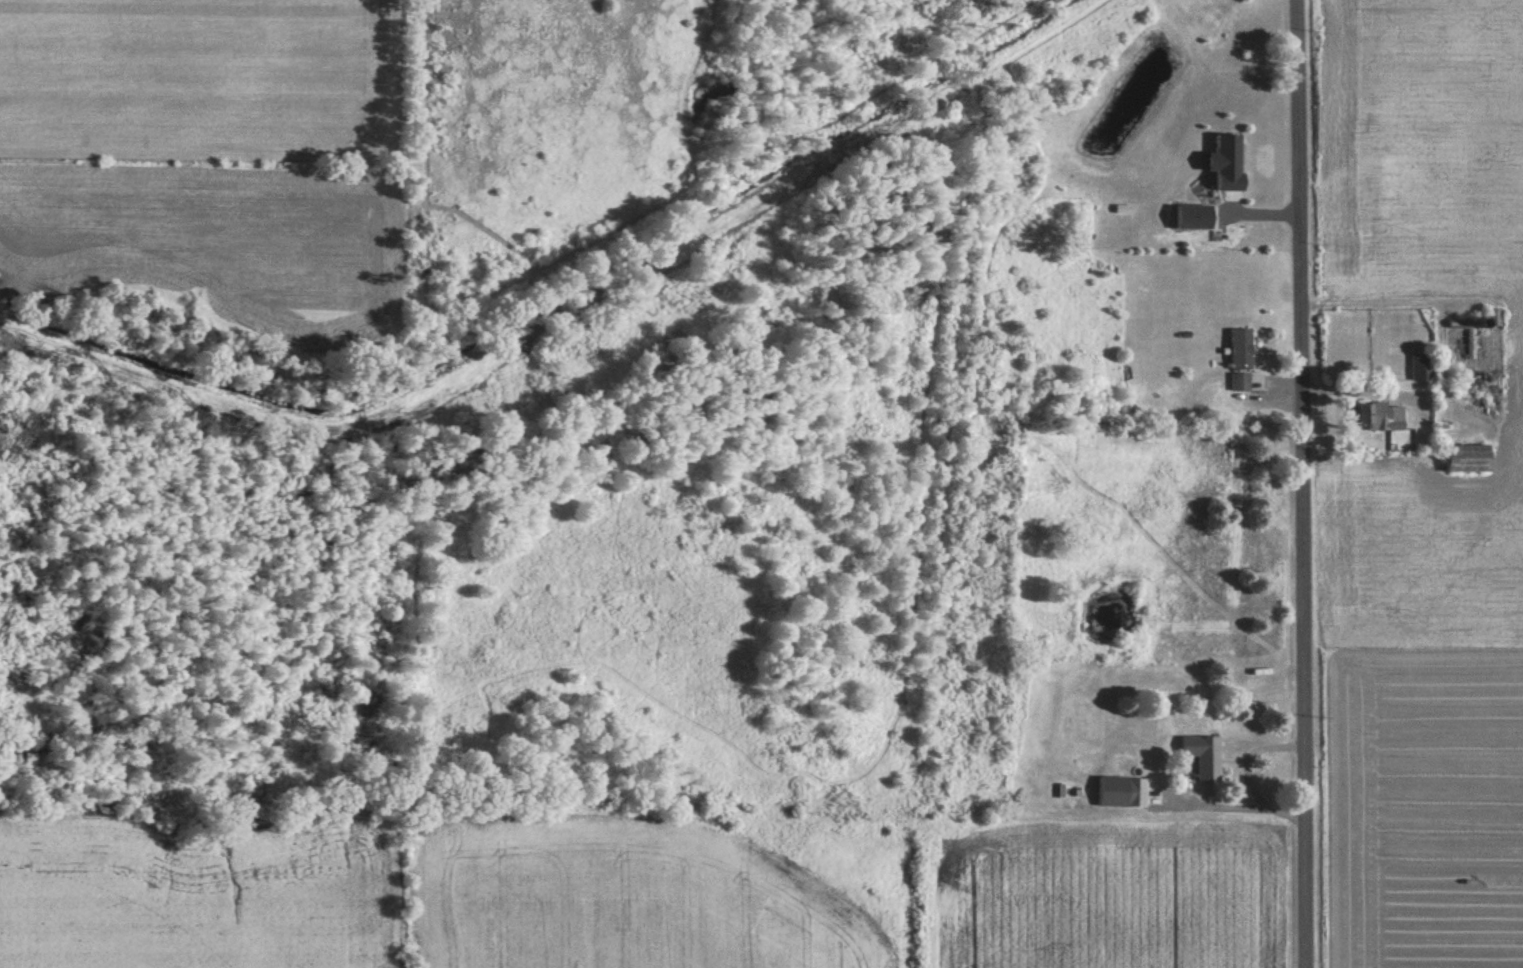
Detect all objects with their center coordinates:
building: (1223, 164)
building: (1490, 318)
building: (1238, 349)
building: (1418, 367)
building: (1237, 382)
building: (1378, 417)
building: (1463, 459)
road: (1305, 483)
building: (1200, 755)
building: (1120, 792)

